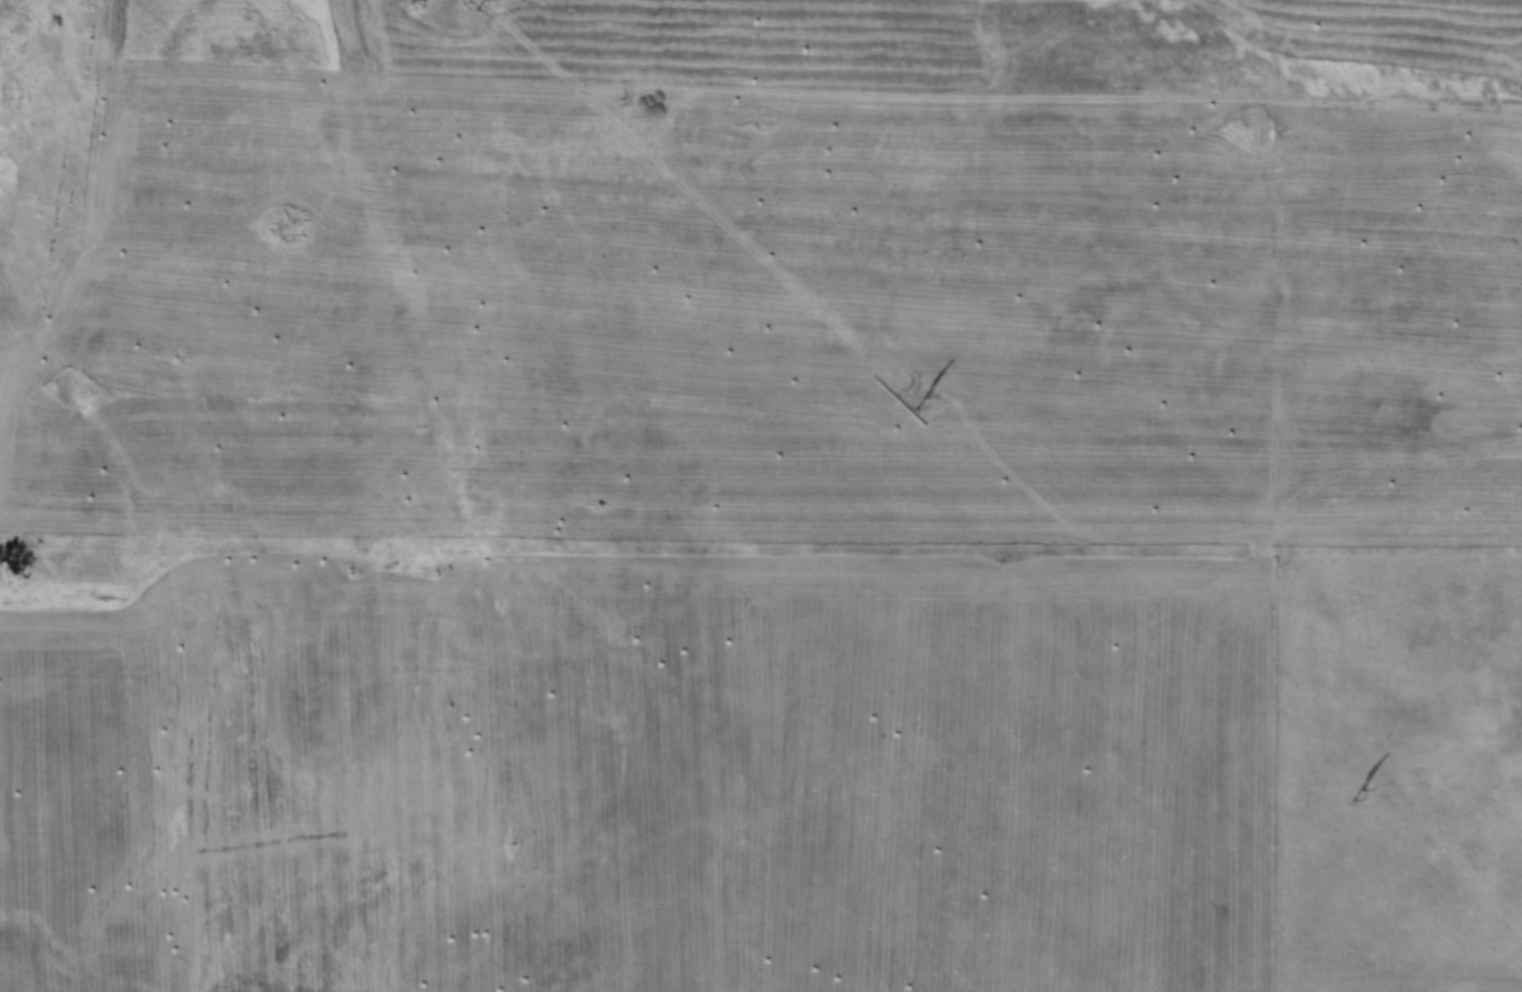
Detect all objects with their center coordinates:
power tower: (477, 5)
power tower: (919, 401)
power tower: (1358, 797)

